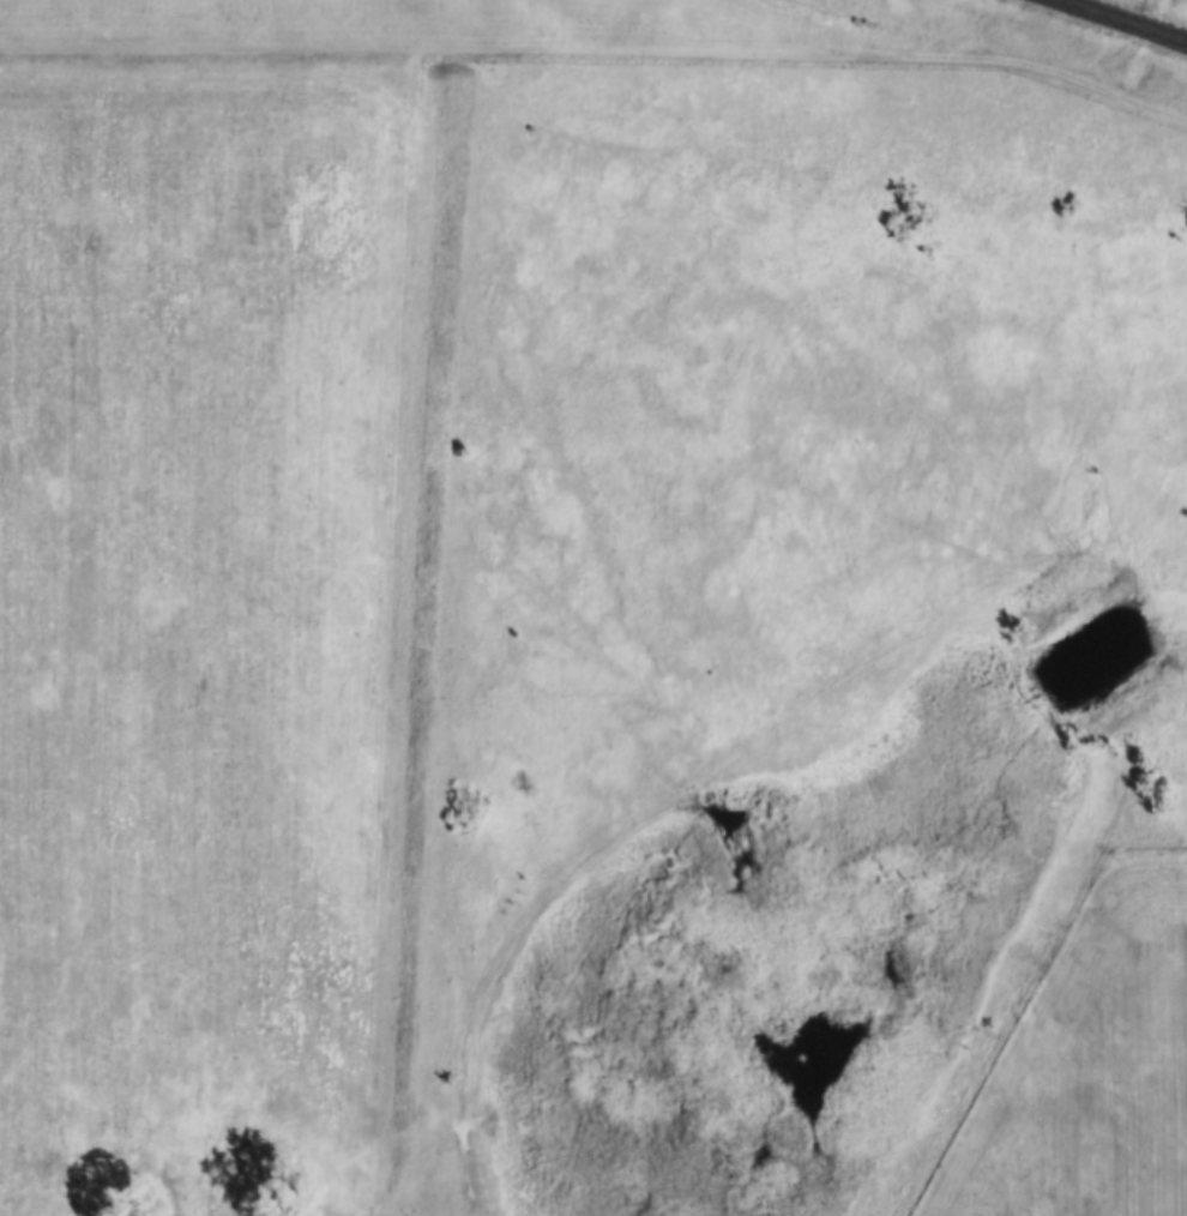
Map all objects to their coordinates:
railway: (1123, 20)

